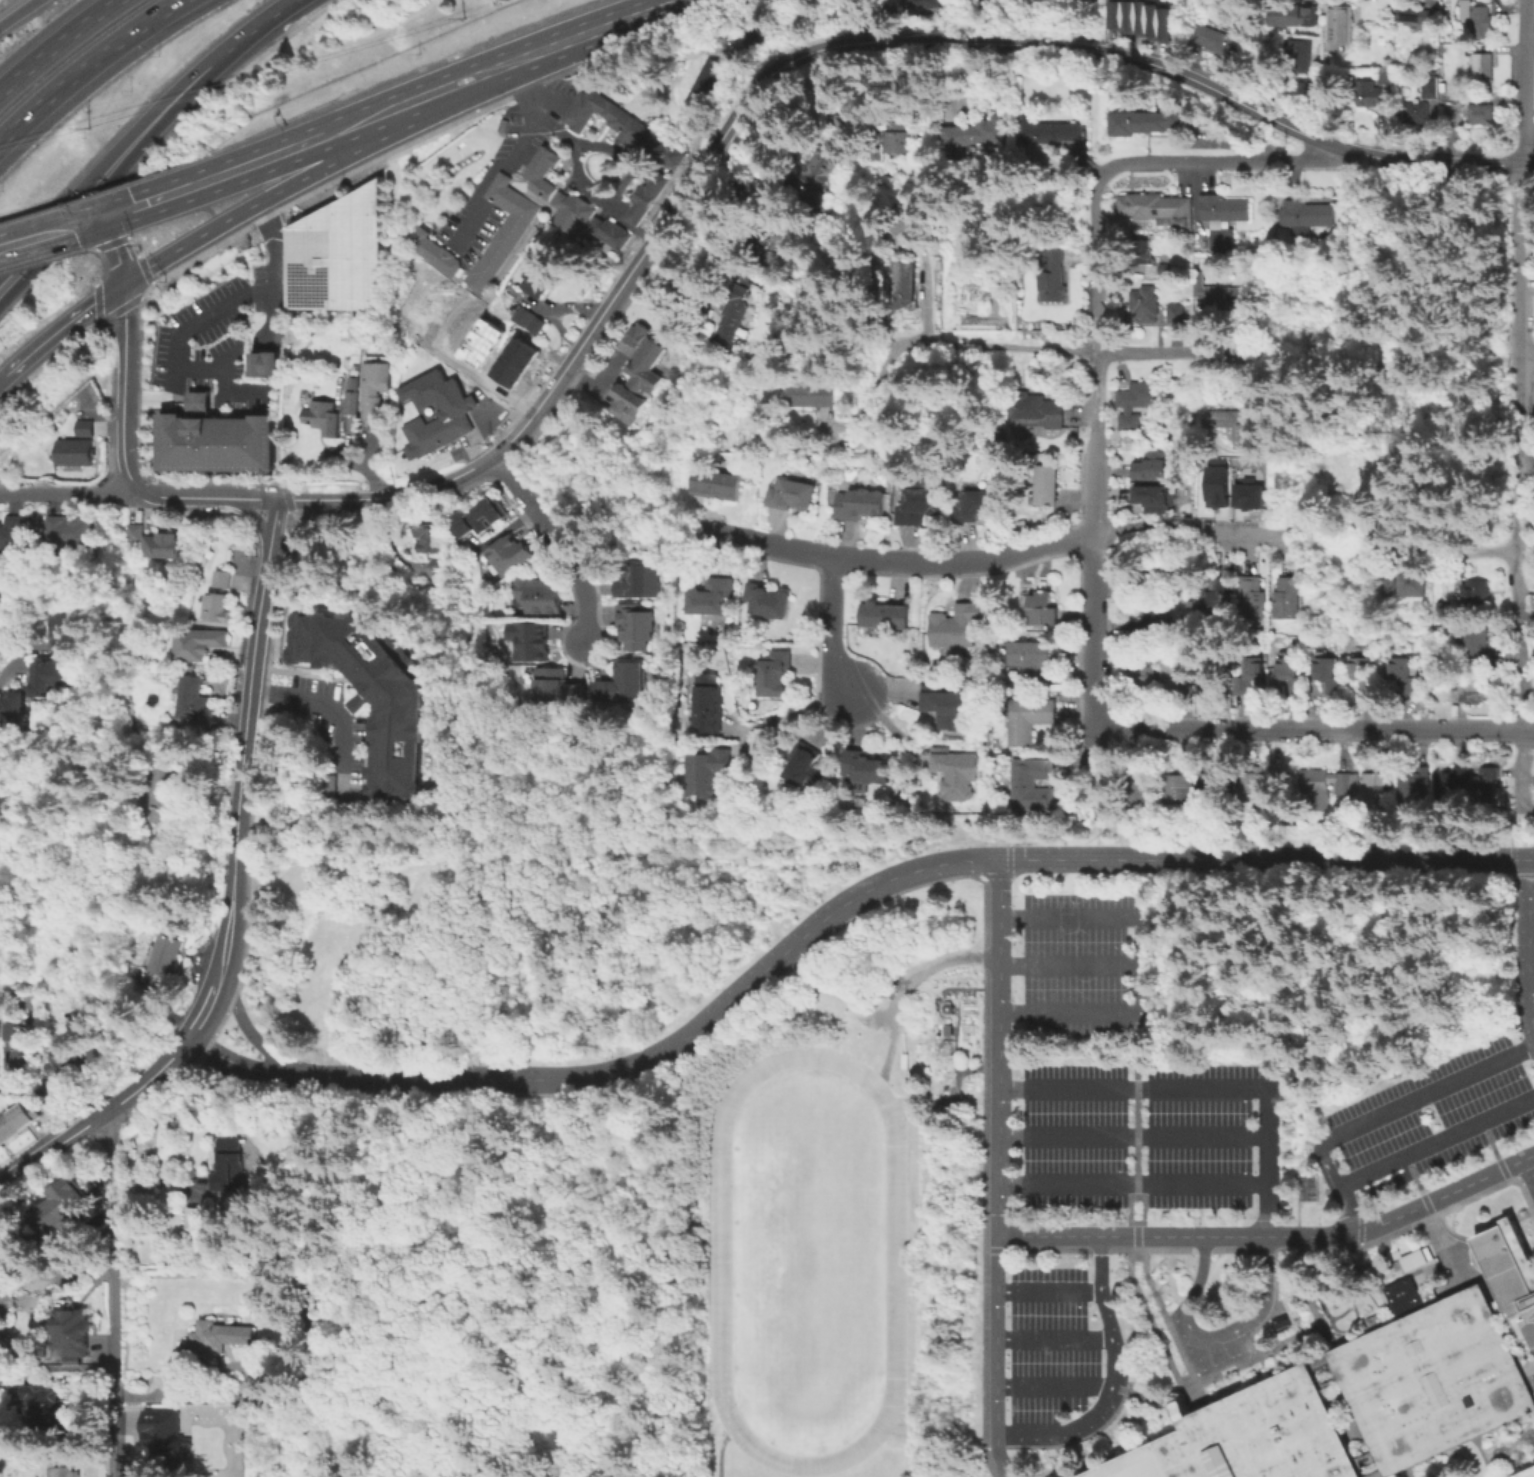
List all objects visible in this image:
building: (925, 4)
road: (19, 13)
building: (1293, 13)
building: (1412, 14)
building: (1143, 18)
building: (1474, 18)
road: (265, 23)
building: (1338, 25)
road: (600, 30)
building: (757, 35)
building: (1215, 39)
road: (58, 45)
road: (1056, 47)
building: (1296, 55)
road: (88, 66)
building: (1480, 68)
building: (1383, 74)
building: (707, 78)
road: (1521, 82)
building: (1427, 86)
building: (1366, 93)
road: (433, 94)
building: (1448, 97)
building: (1414, 111)
building: (1478, 113)
building: (603, 116)
building: (848, 120)
building: (1150, 124)
building: (978, 133)
building: (1055, 133)
building: (901, 136)
building: (662, 150)
road: (111, 155)
road: (1220, 160)
road: (510, 162)
building: (826, 164)
building: (539, 171)
road: (229, 174)
road: (642, 175)
road: (115, 176)
road: (1455, 188)
building: (644, 198)
building: (569, 209)
building: (1162, 210)
road: (242, 213)
building: (1308, 217)
traffic signals: (106, 218)
building: (1227, 219)
road: (1441, 221)
building: (918, 223)
road: (631, 228)
building: (499, 231)
building: (607, 231)
road: (53, 234)
building: (785, 235)
building: (432, 251)
road: (116, 252)
building: (336, 253)
building: (1145, 254)
road: (1520, 261)
road: (1102, 262)
building: (536, 276)
building: (1056, 277)
traffic signals: (123, 287)
building: (911, 287)
building: (1218, 293)
road: (110, 295)
road: (1409, 296)
building: (1146, 306)
road: (214, 310)
building: (462, 311)
building: (1177, 314)
building: (527, 319)
building: (731, 319)
building: (453, 324)
building: (490, 330)
road: (50, 337)
building: (445, 337)
building: (482, 343)
building: (644, 343)
building: (522, 349)
road: (239, 350)
road: (1073, 351)
building: (474, 356)
road: (1401, 359)
road: (1527, 359)
building: (271, 362)
building: (514, 362)
building: (256, 364)
park: (1393, 364)
road: (562, 372)
building: (506, 375)
building: (641, 377)
road: (3, 379)
road: (487, 380)
road: (598, 381)
building: (353, 382)
building: (374, 383)
road: (882, 385)
road: (124, 388)
road: (232, 392)
road: (1098, 392)
road: (216, 396)
building: (815, 397)
road: (176, 399)
building: (351, 401)
road: (197, 402)
building: (625, 403)
building: (1140, 404)
building: (1037, 412)
building: (451, 413)
building: (323, 416)
building: (1236, 425)
building: (83, 427)
building: (214, 437)
building: (73, 451)
road: (1390, 464)
building: (1151, 469)
building: (1215, 485)
building: (717, 487)
building: (1046, 487)
road: (420, 490)
road: (68, 491)
building: (1246, 493)
building: (792, 496)
road: (181, 498)
road: (363, 499)
road: (253, 500)
road: (282, 501)
road: (313, 501)
building: (1152, 501)
building: (859, 506)
building: (919, 507)
building: (977, 507)
road: (293, 515)
road: (254, 516)
building: (479, 518)
road: (274, 522)
road: (300, 527)
building: (67, 530)
building: (132, 532)
road: (1194, 534)
building: (11, 535)
building: (430, 538)
road: (556, 542)
road: (625, 542)
building: (153, 544)
road: (1517, 544)
building: (173, 545)
road: (269, 551)
road: (1481, 551)
building: (509, 557)
road: (890, 563)
building: (436, 567)
building: (218, 579)
road: (1095, 580)
building: (1151, 581)
building: (638, 582)
building: (1415, 585)
building: (1389, 591)
building: (1473, 591)
building: (539, 597)
building: (710, 598)
building: (1253, 598)
building: (1216, 599)
building: (1286, 599)
building: (768, 603)
building: (217, 607)
building: (1040, 610)
building: (1442, 611)
building: (885, 617)
building: (1152, 622)
building: (957, 627)
building: (636, 629)
road: (833, 630)
building: (64, 631)
building: (199, 642)
building: (1479, 642)
building: (530, 643)
road: (16, 658)
building: (1030, 662)
road: (253, 665)
building: (1176, 670)
building: (1294, 672)
building: (776, 673)
building: (46, 675)
building: (1331, 675)
building: (1404, 675)
building: (1365, 677)
building: (1252, 679)
building: (1143, 680)
building: (623, 685)
building: (558, 689)
building: (369, 691)
building: (1472, 692)
building: (195, 703)
building: (709, 706)
building: (10, 707)
building: (947, 708)
road: (331, 710)
road: (793, 714)
building: (1030, 721)
road: (1309, 730)
road: (1528, 730)
road: (1095, 752)
road: (1523, 768)
building: (803, 769)
building: (869, 770)
building: (707, 774)
building: (958, 776)
building: (1380, 782)
building: (1344, 785)
building: (1414, 785)
building: (1253, 786)
building: (1033, 787)
building: (1449, 787)
building: (1486, 787)
building: (1317, 788)
building: (1140, 789)
building: (1177, 789)
building: (1213, 793)
building: (169, 797)
road: (1101, 816)
road: (1512, 825)
road: (1512, 853)
road: (1049, 861)
road: (1317, 861)
road: (235, 868)
road: (1531, 925)
road: (1529, 947)
building: (167, 956)
road: (1070, 964)
road: (1141, 965)
road: (1531, 972)
road: (219, 973)
parking lot: (1079, 979)
road: (907, 987)
road: (203, 1012)
road: (1532, 1021)
road: (1138, 1025)
building: (7, 1031)
road: (252, 1036)
road: (683, 1041)
building: (0, 1046)
building: (24, 1063)
building: (63, 1065)
road: (250, 1068)
road: (149, 1081)
road: (1206, 1088)
road: (1385, 1113)
parking lot: (1425, 1122)
building: (16, 1123)
road: (1134, 1137)
road: (1436, 1142)
parking lot: (1144, 1146)
road: (51, 1152)
building: (225, 1163)
road: (1000, 1169)
road: (1138, 1169)
road: (1528, 1175)
road: (157, 1181)
road: (1133, 1184)
building: (1306, 1186)
building: (60, 1208)
road: (1430, 1211)
building: (189, 1217)
road: (1451, 1231)
road: (1398, 1234)
road: (1137, 1236)
road: (1275, 1238)
road: (1361, 1240)
road: (1135, 1250)
road: (1381, 1253)
road: (1363, 1255)
building: (1414, 1258)
park: (808, 1259)
road: (1100, 1265)
parking lot: (1048, 1267)
building: (1510, 1271)
track: (721, 1275)
building: (8, 1292)
road: (1049, 1293)
road: (1377, 1293)
road: (113, 1296)
road: (1271, 1313)
building: (73, 1335)
building: (1047, 1335)
building: (221, 1337)
road: (1214, 1342)
road: (1185, 1359)
road: (1172, 1365)
road: (1220, 1373)
building: (1052, 1375)
building: (1432, 1380)
building: (259, 1388)
building: (50, 1411)
building: (164, 1431)
building: (1248, 1436)
road: (1512, 1446)
road: (721, 1455)
road: (1483, 1456)
building: (66, 1465)
road: (1408, 1472)
building: (1525, 1473)
building: (1378, 1475)

